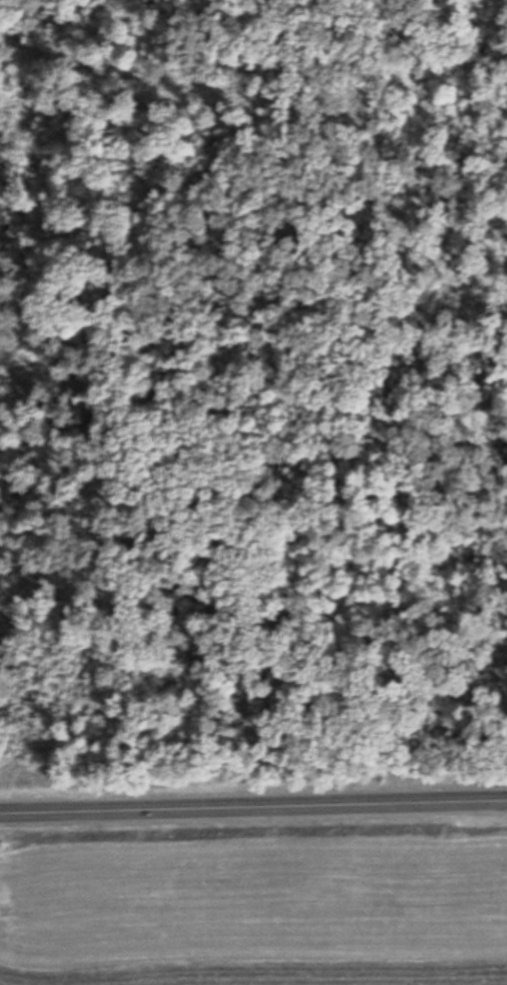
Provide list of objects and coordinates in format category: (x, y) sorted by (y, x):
road: (253, 812)

